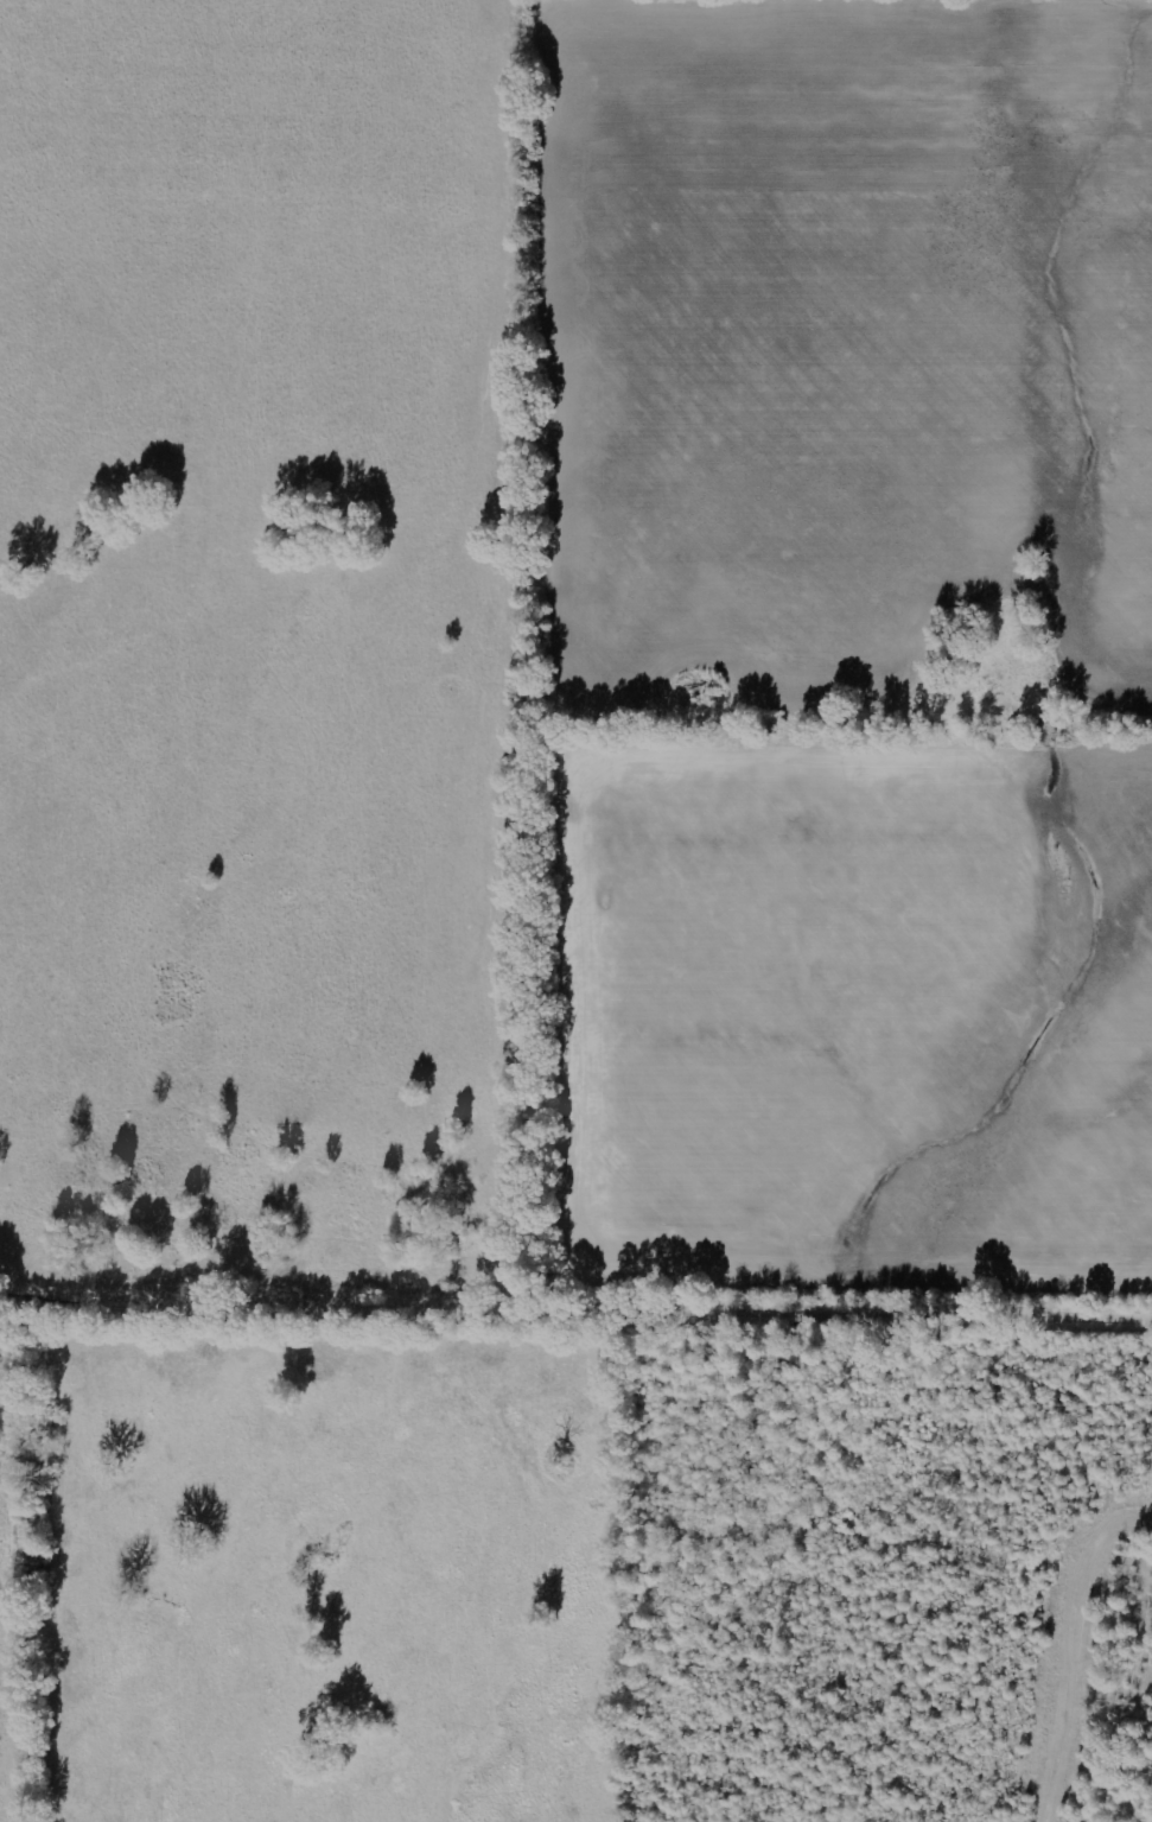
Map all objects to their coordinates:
road: (574, 1319)

